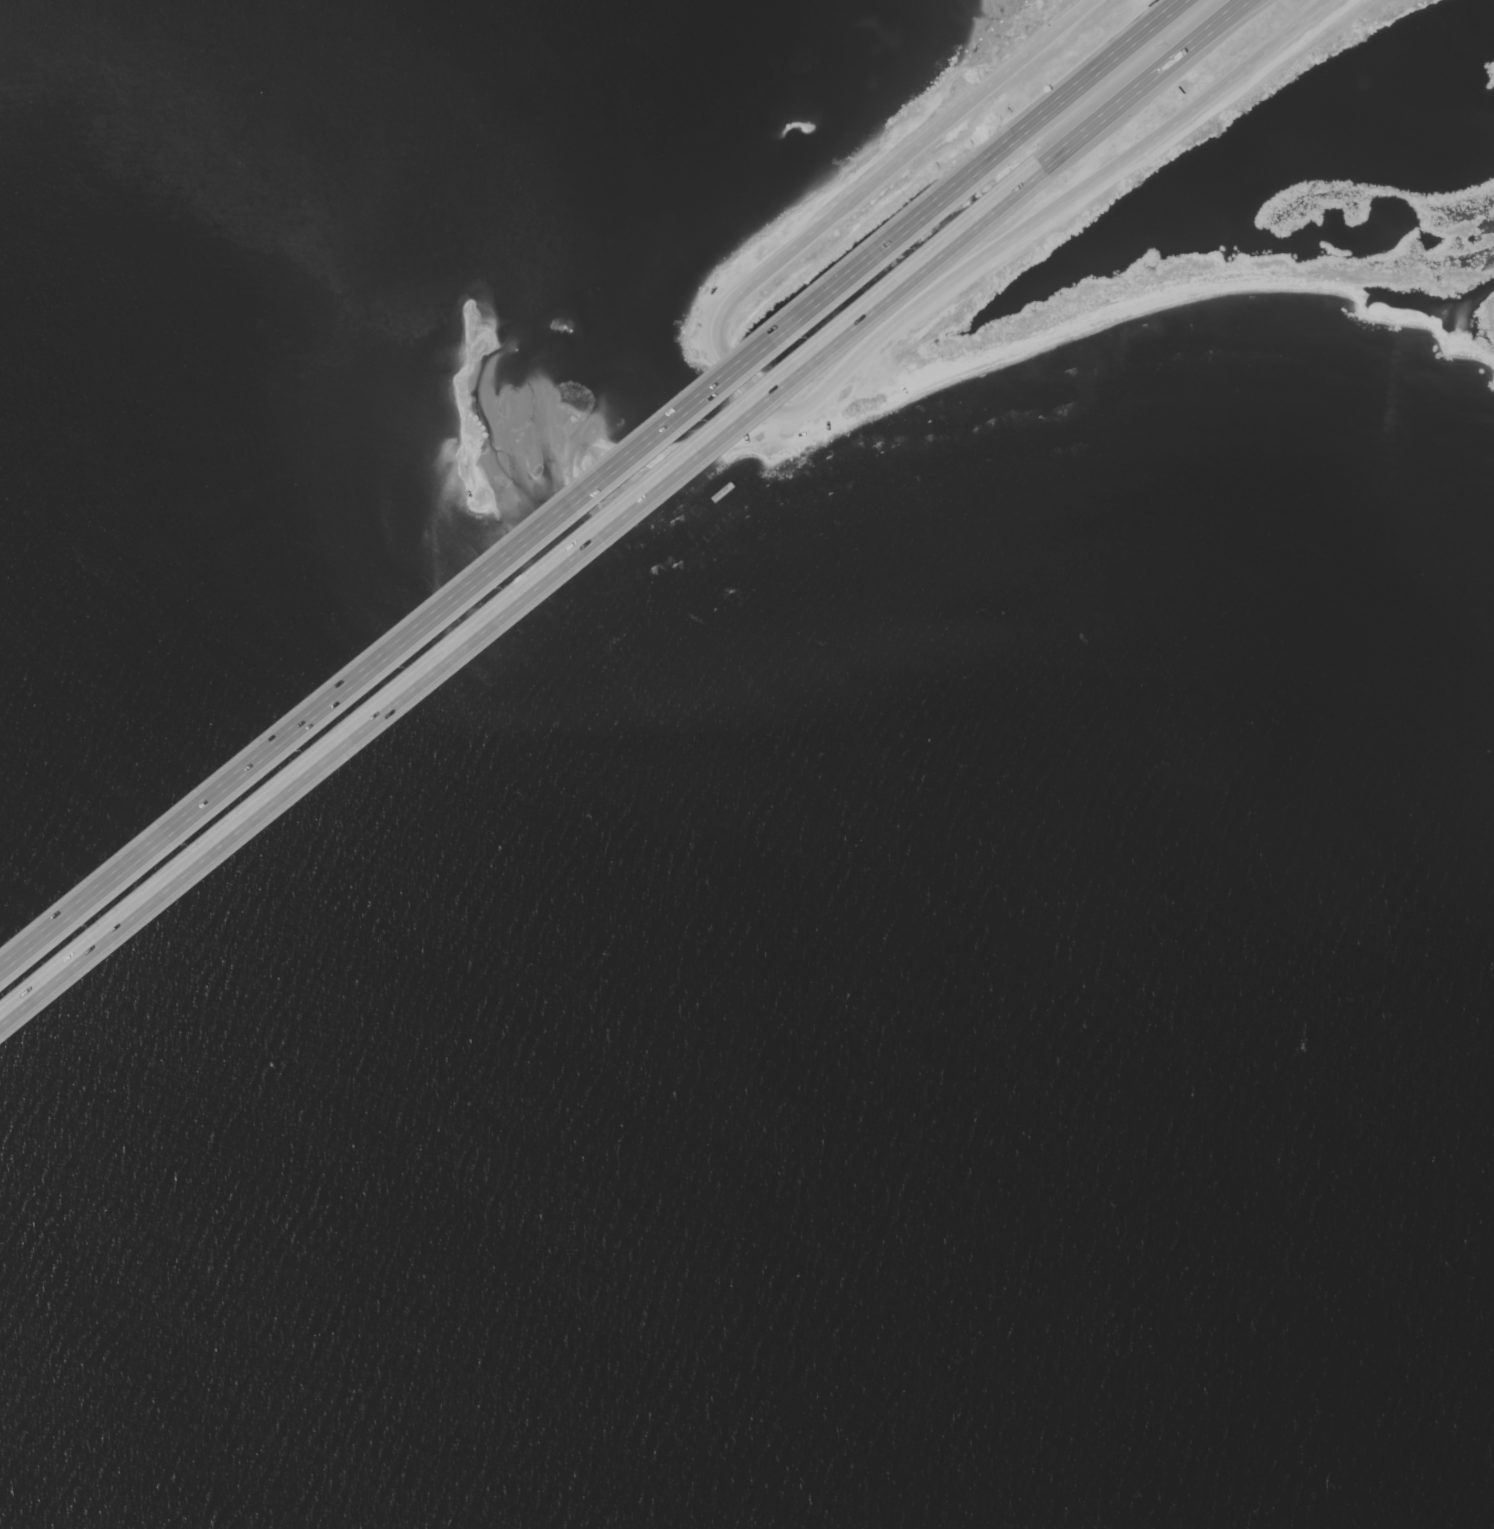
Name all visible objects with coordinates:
railway: (1388, 2)
road: (1192, 48)
road: (1101, 65)
road: (1139, 83)
road: (916, 148)
road: (1123, 161)
park: (1303, 202)
road: (789, 415)
road: (511, 556)
road: (519, 598)

